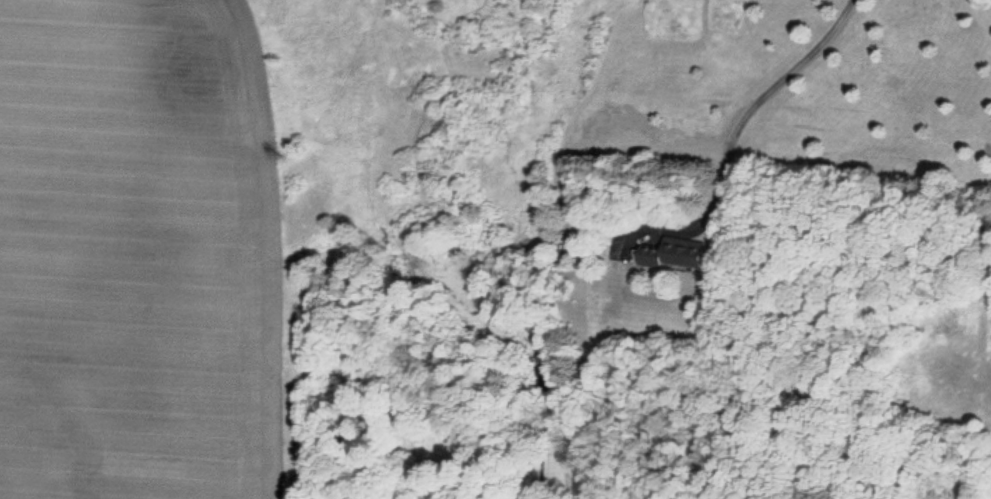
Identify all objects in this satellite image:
building: (673, 253)

